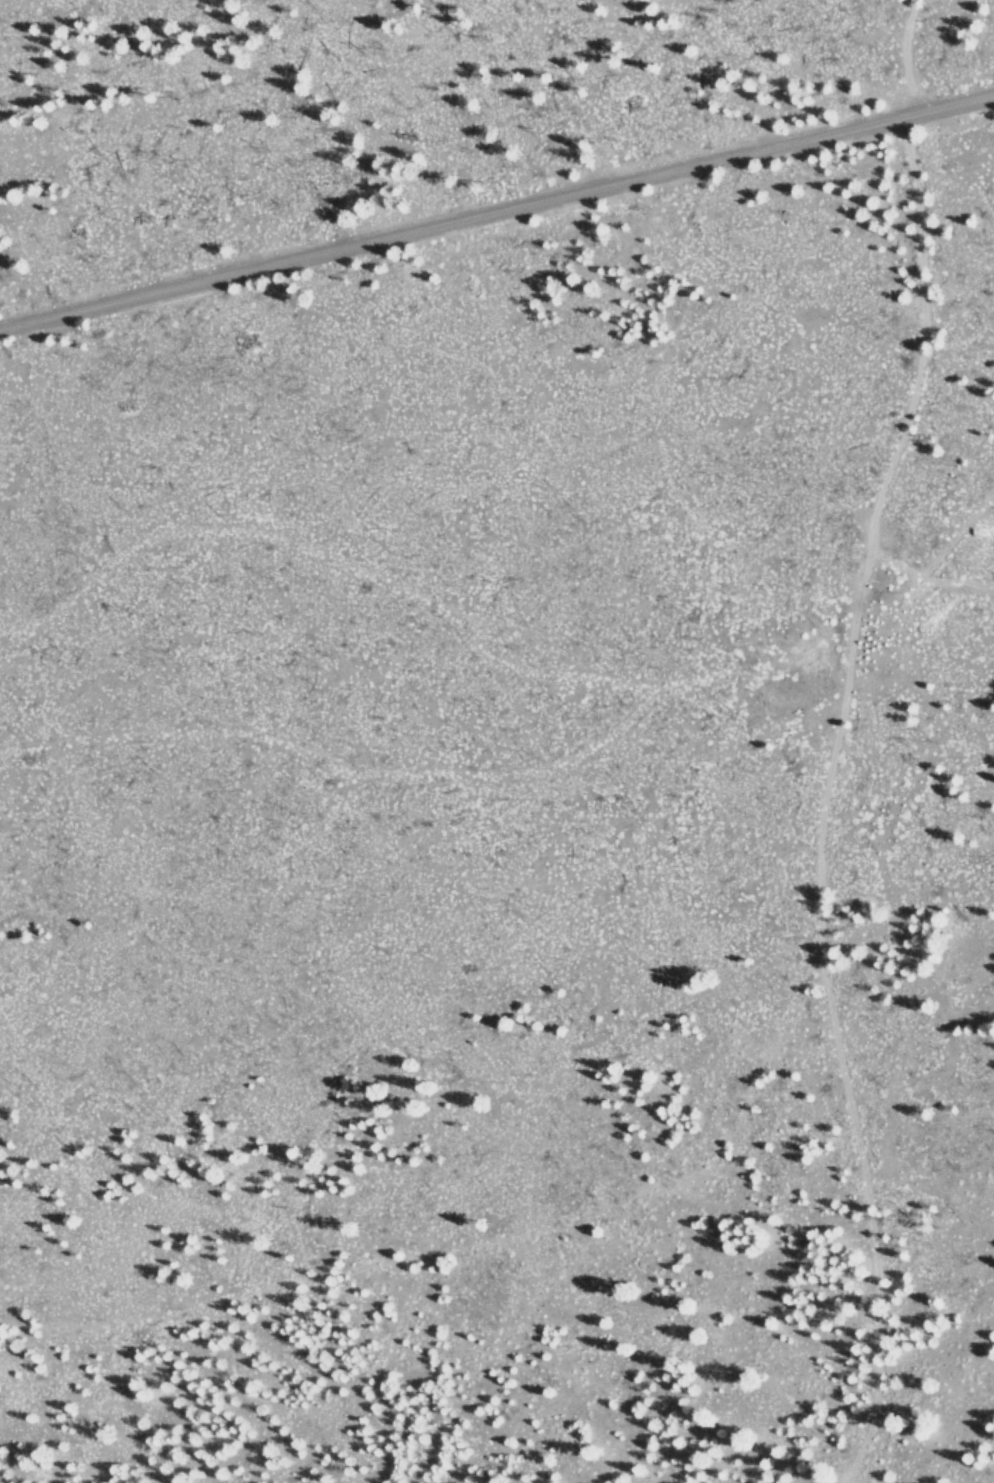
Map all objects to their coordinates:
road: (495, 176)

